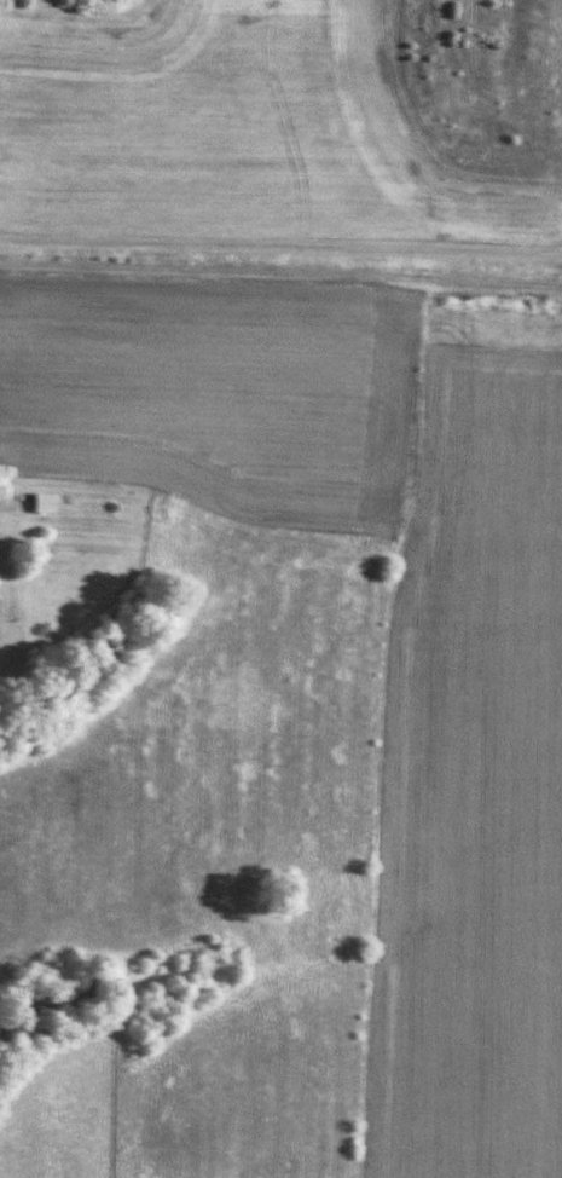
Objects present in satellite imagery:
road: (280, 244)
building: (45, 503)

